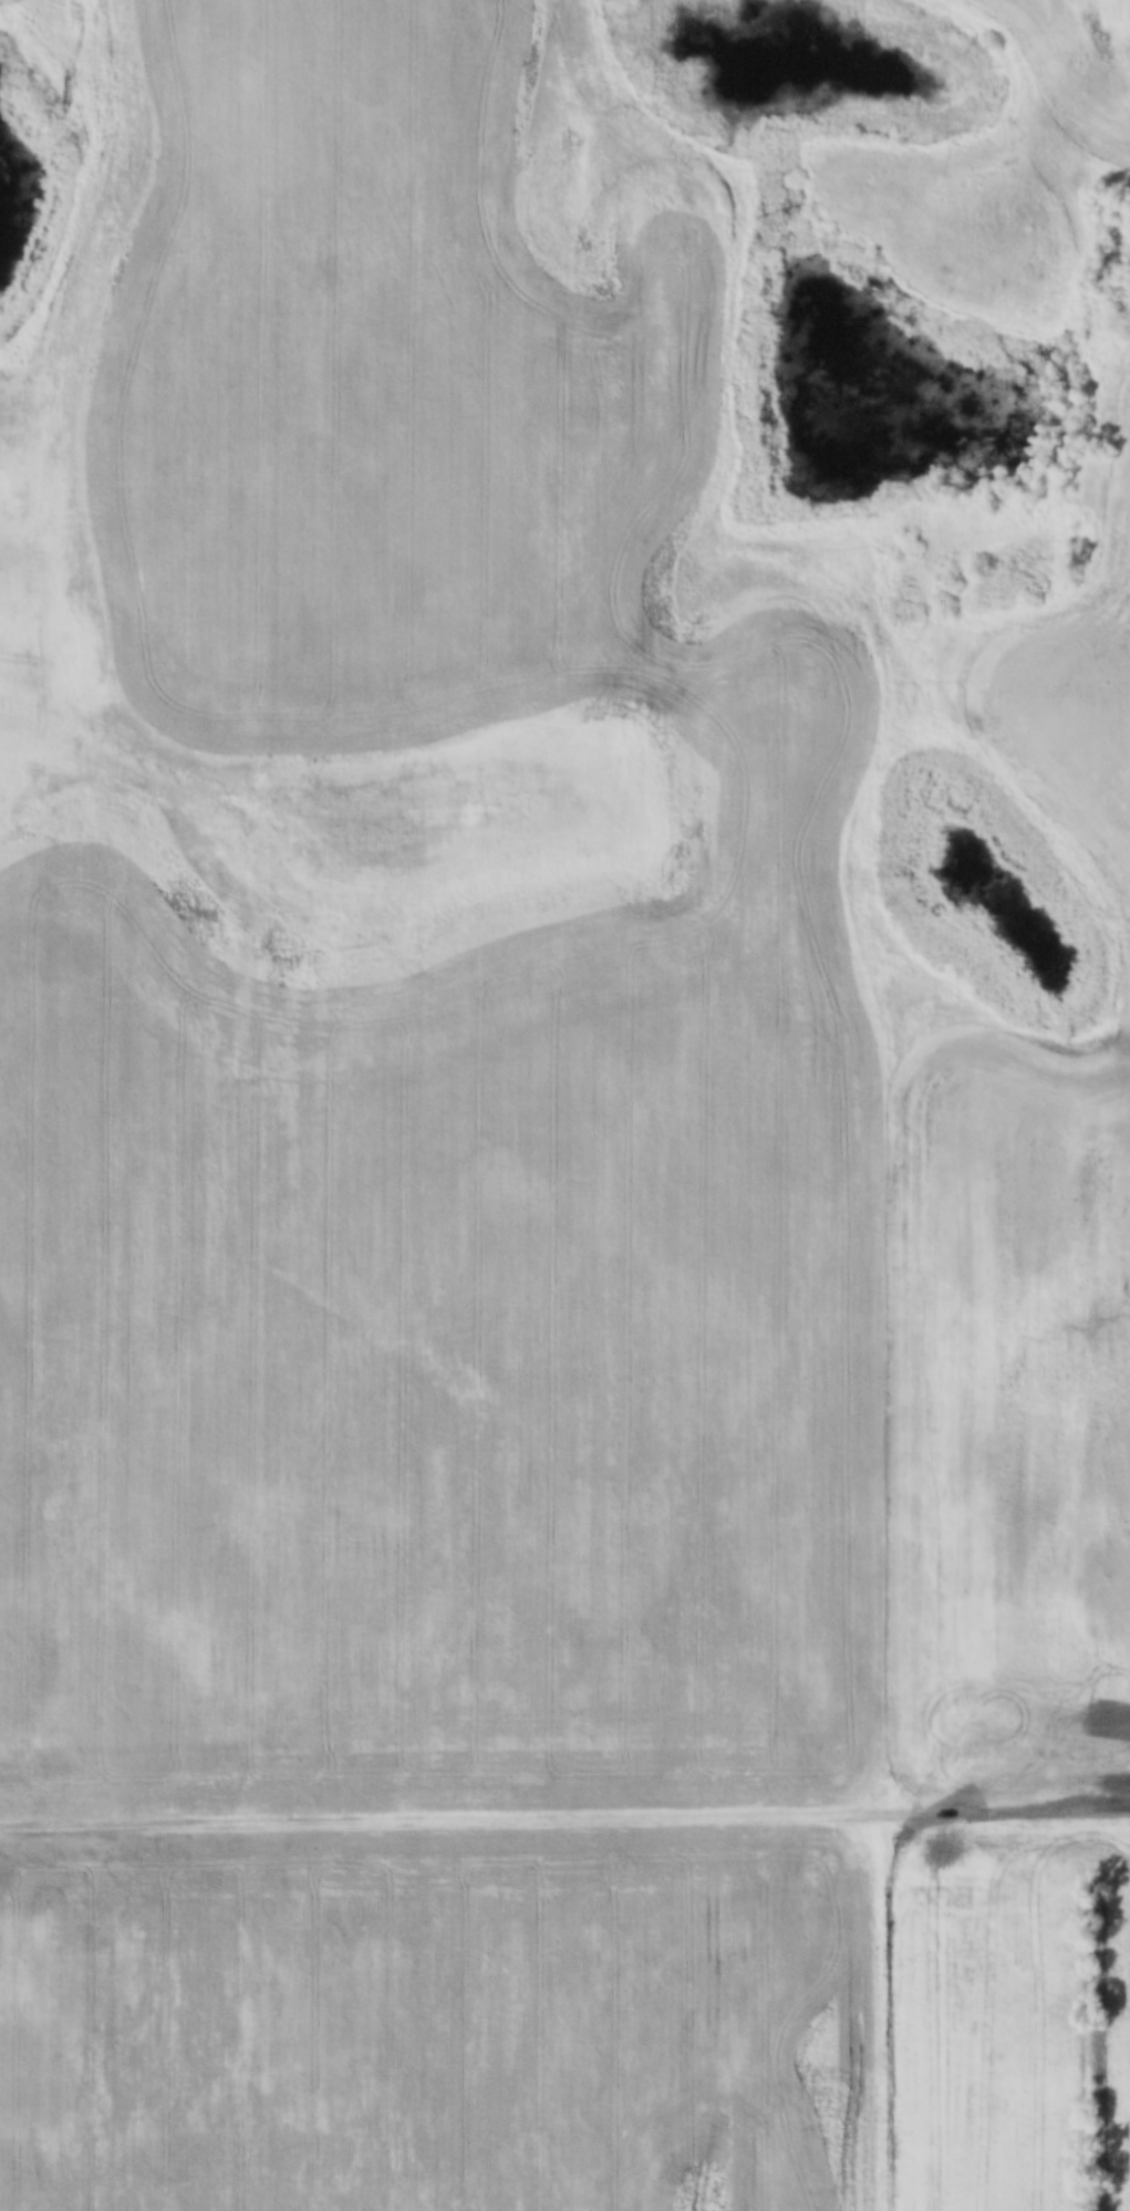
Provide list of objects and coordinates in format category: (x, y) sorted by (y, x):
road: (564, 1817)

